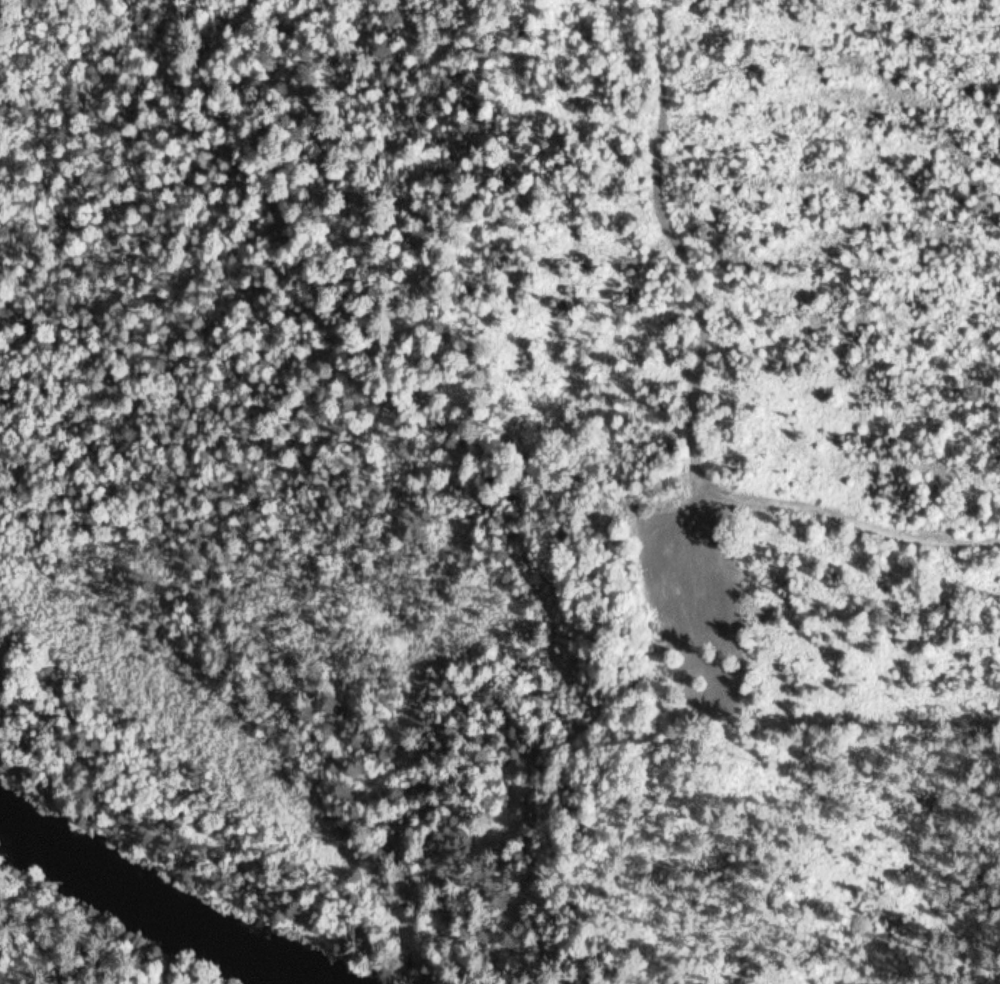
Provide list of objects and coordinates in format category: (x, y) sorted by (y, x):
river: (159, 901)

